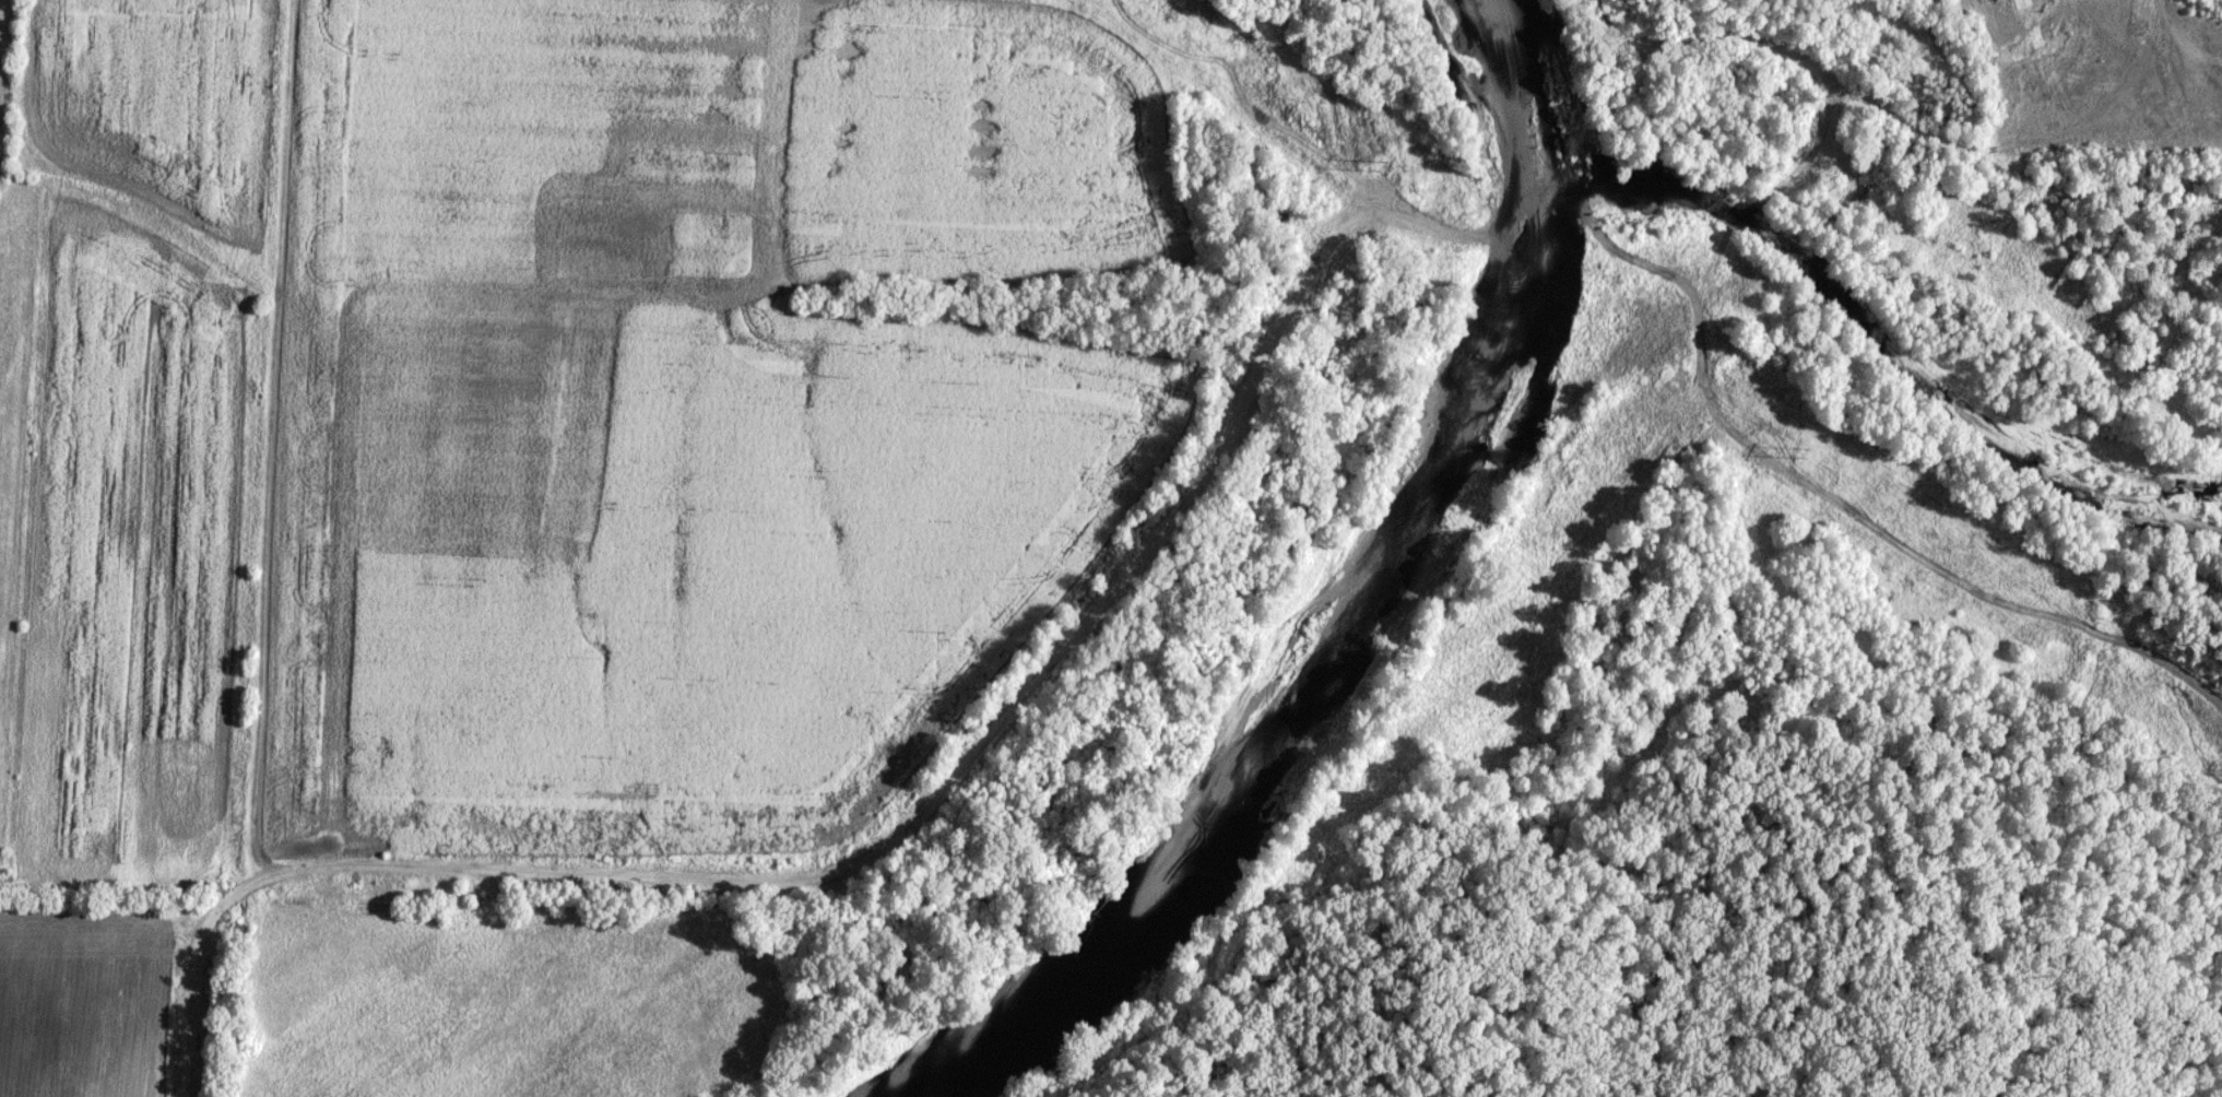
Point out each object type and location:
power tower: (1179, 30)
road: (1959, 150)
power tower: (1422, 190)
power tower: (1845, 483)
river: (1302, 693)

